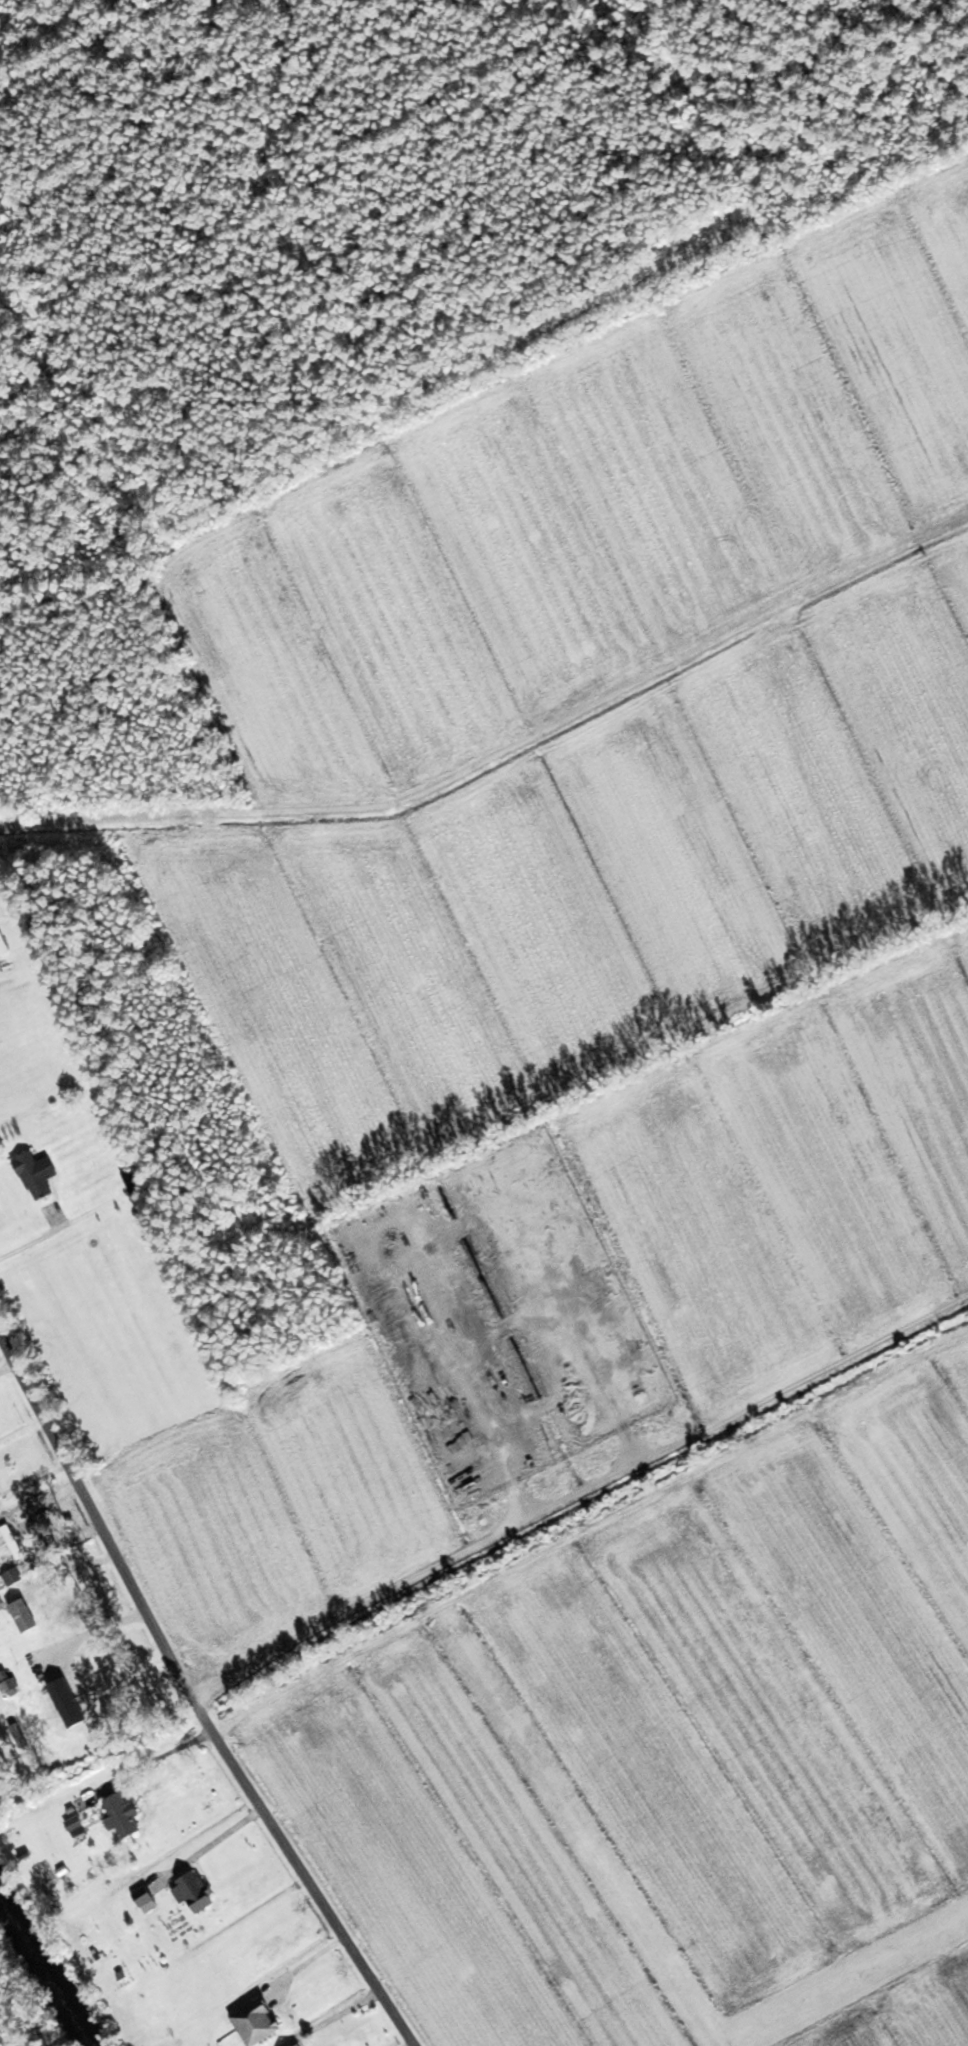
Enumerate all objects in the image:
building: (4, 944)
building: (40, 1175)
building: (133, 1181)
building: (1, 1495)
building: (27, 1616)
road: (193, 1697)
building: (71, 1703)
building: (128, 1816)
building: (79, 1826)
building: (201, 1893)
building: (261, 2022)
building: (303, 2045)

